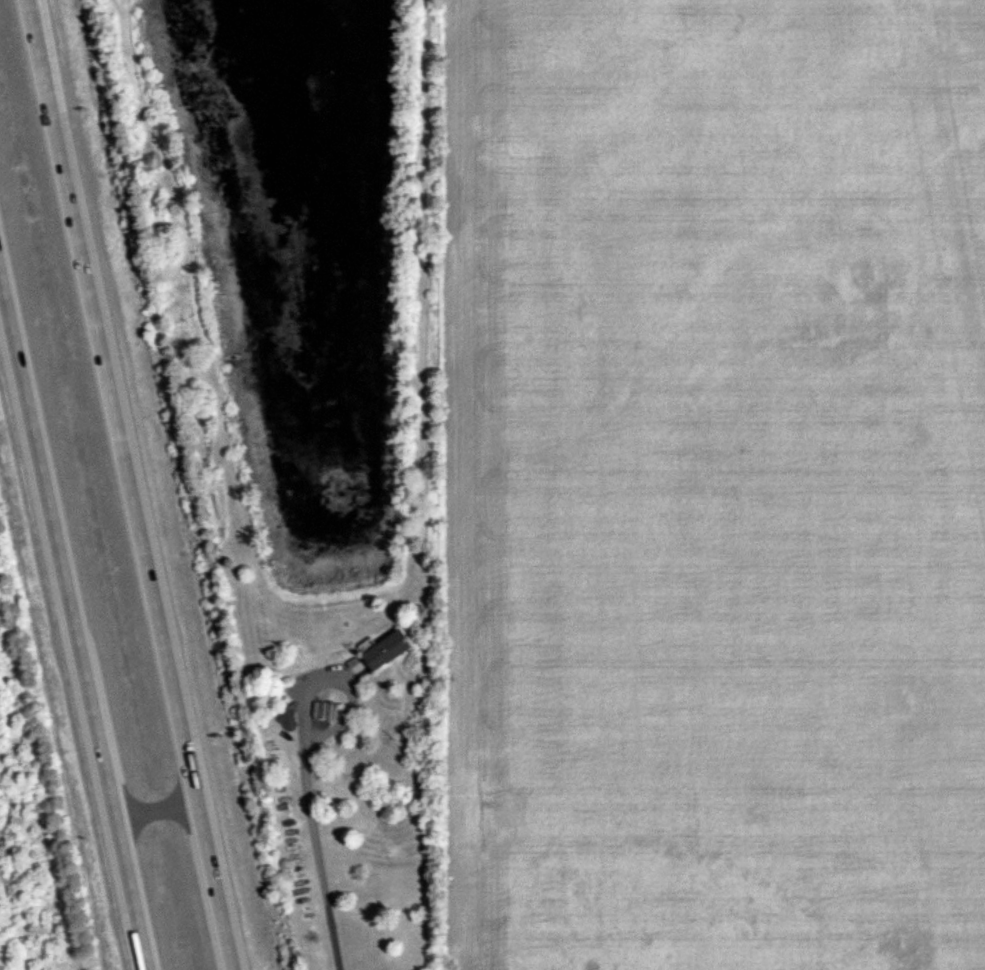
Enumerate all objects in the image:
road: (131, 485)
road: (75, 622)
building: (391, 649)
building: (273, 697)
road: (157, 809)
road: (369, 902)

